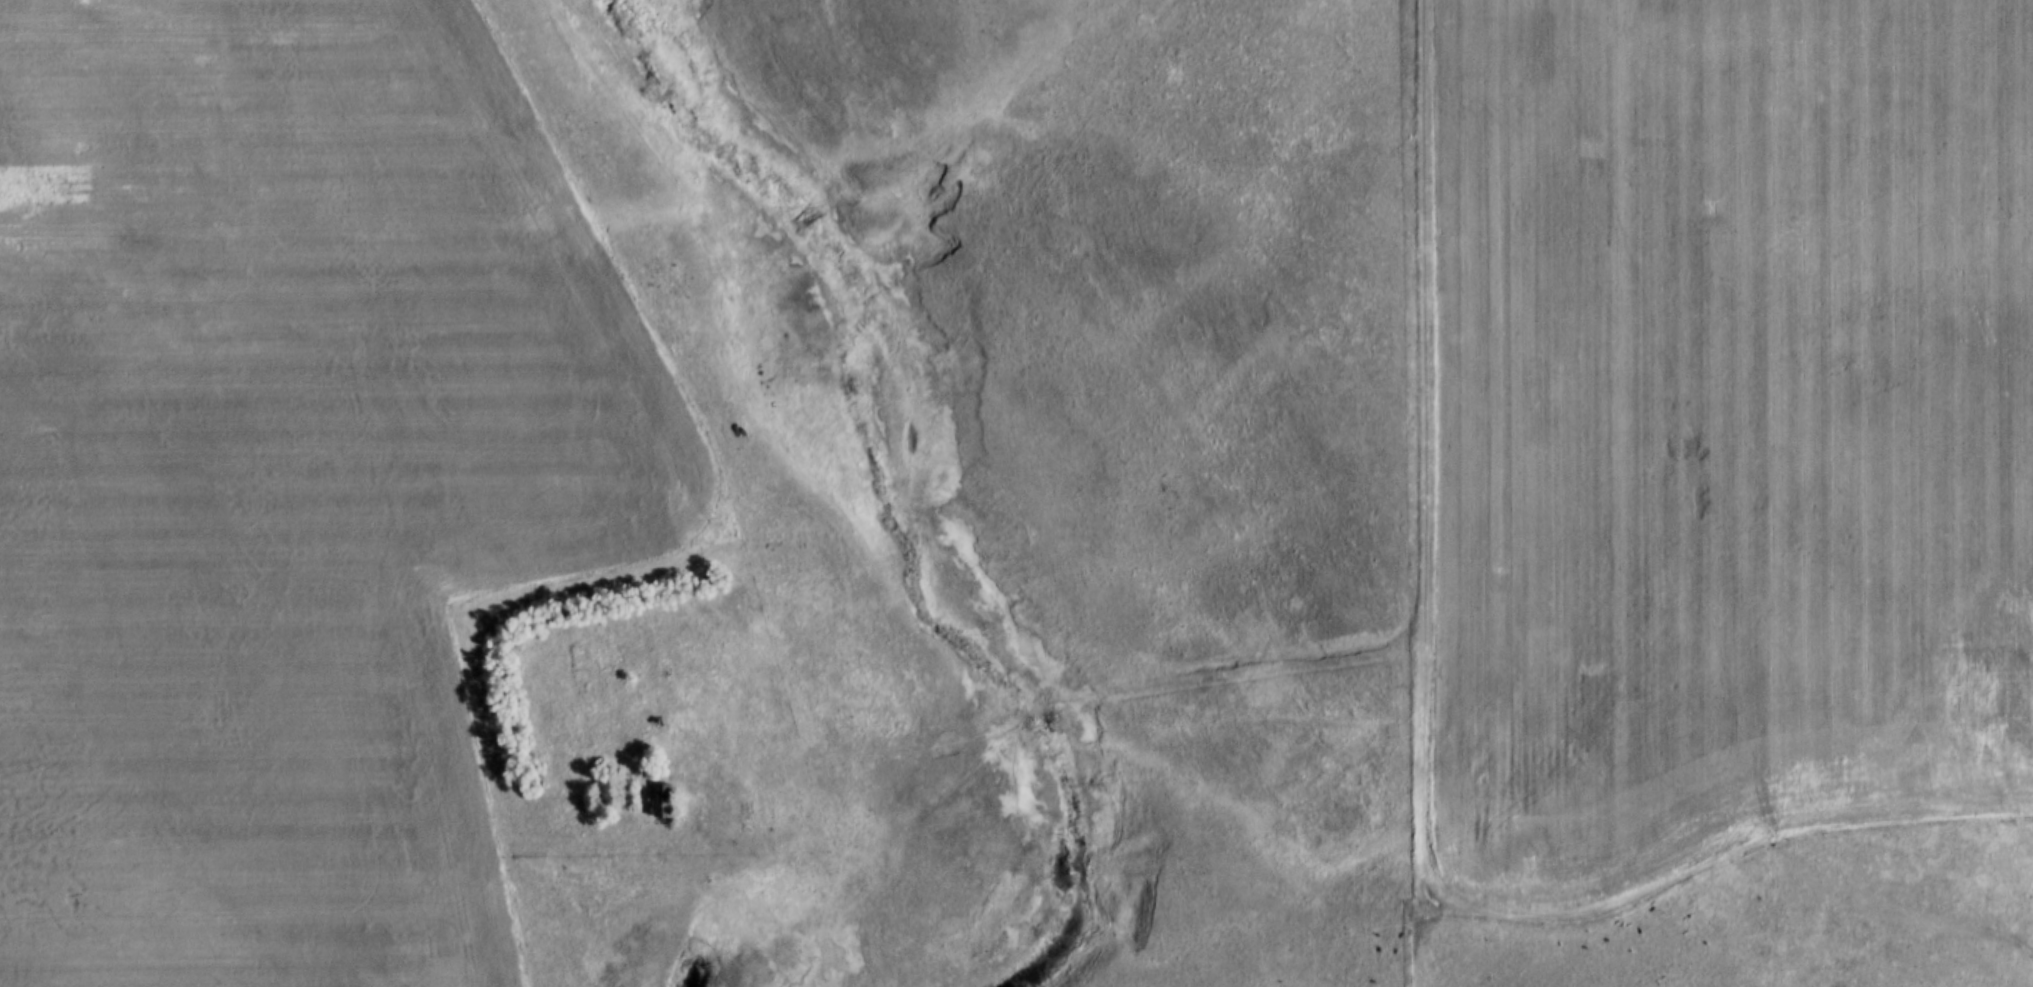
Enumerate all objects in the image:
road: (1427, 312)
road: (1211, 667)
road: (1420, 769)
building: (666, 801)
road: (515, 864)

